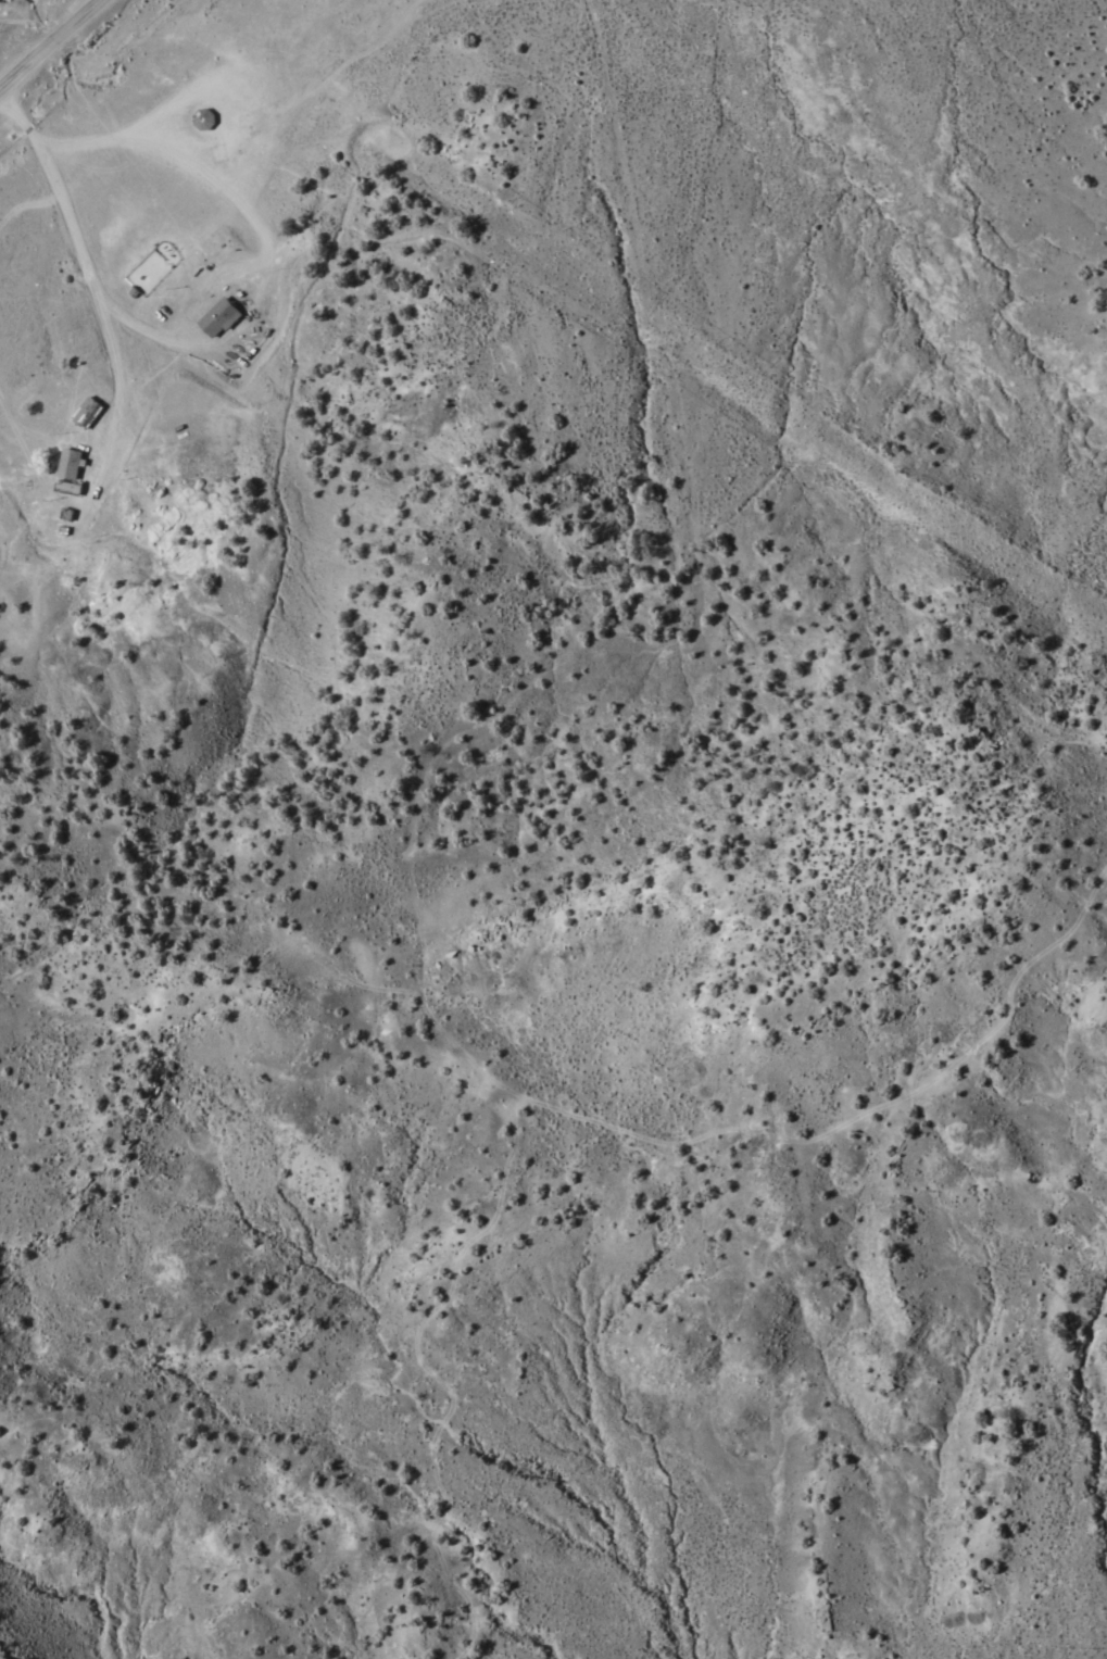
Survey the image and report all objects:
road: (52, 46)
road: (0, 91)
building: (219, 318)
building: (87, 414)
building: (71, 464)

